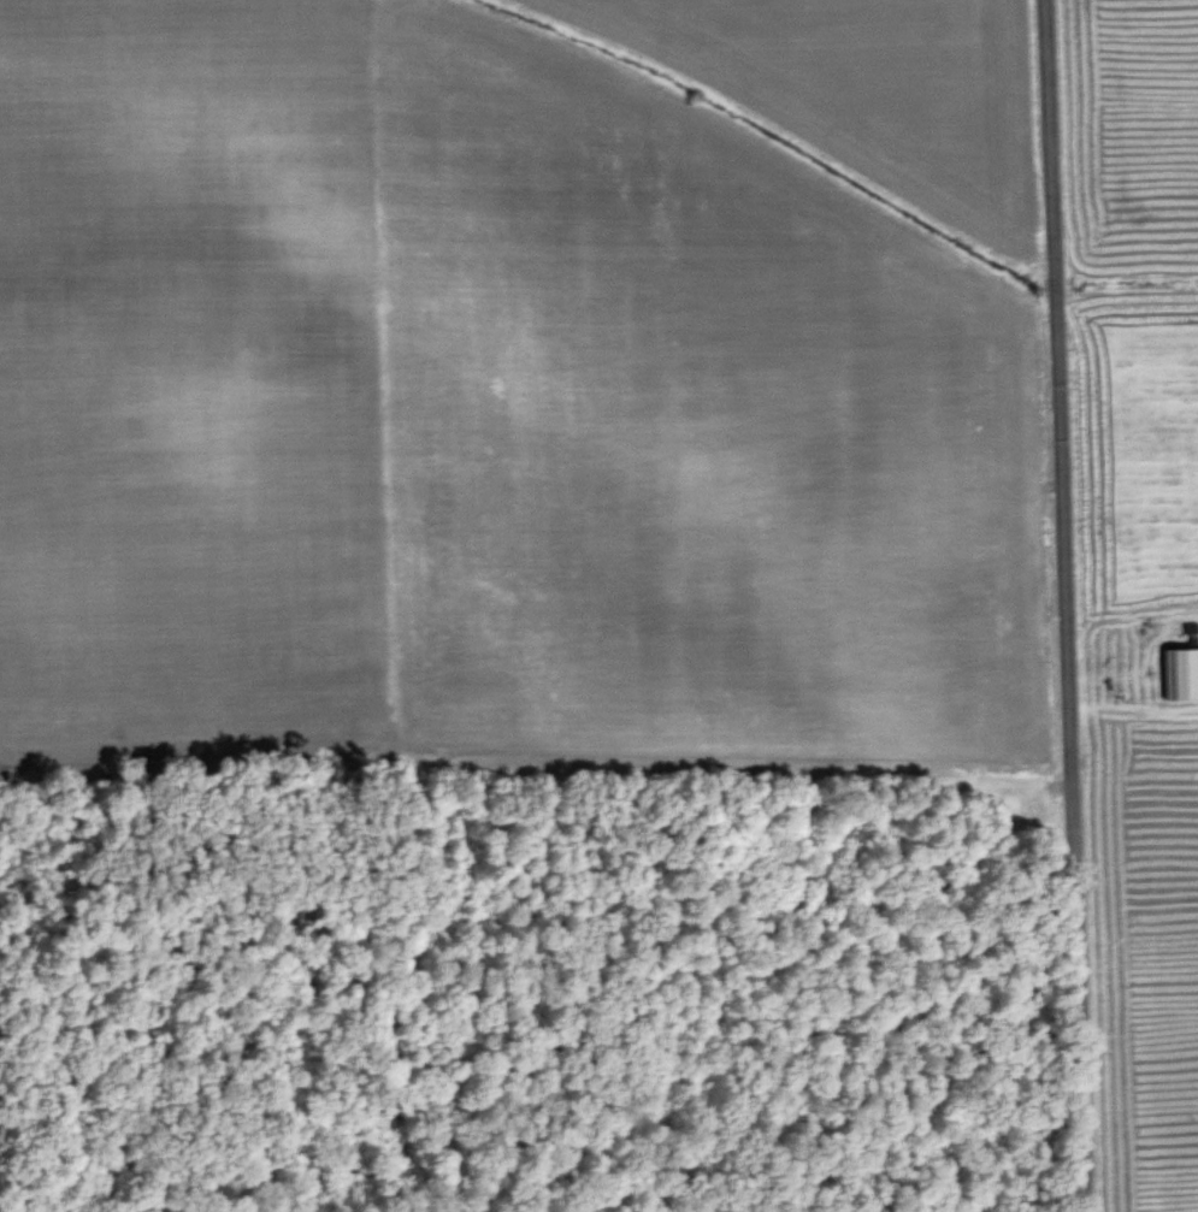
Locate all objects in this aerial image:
road: (1062, 605)
building: (1180, 672)

